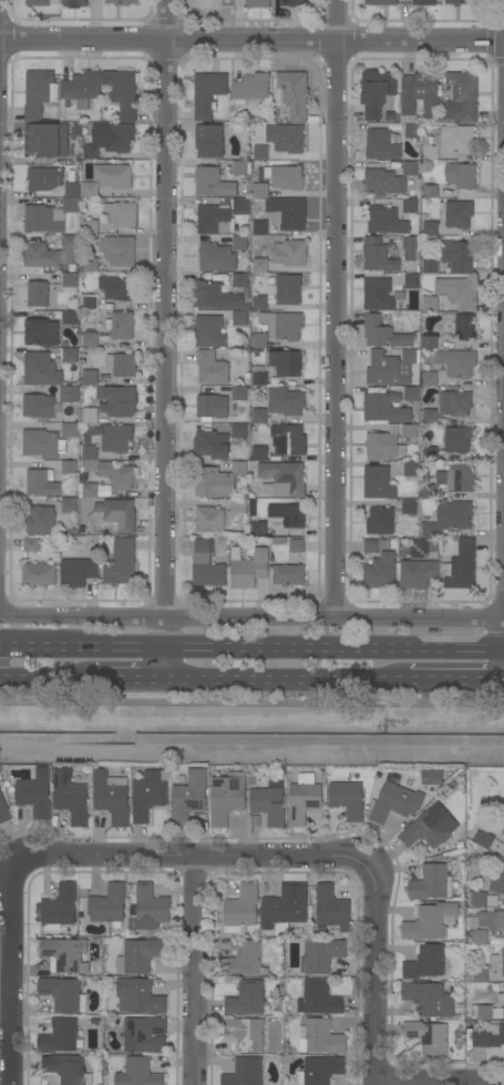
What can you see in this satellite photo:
building: (121, 2)
building: (381, 2)
building: (424, 2)
building: (460, 2)
building: (39, 3)
building: (75, 3)
building: (208, 3)
building: (258, 3)
building: (292, 3)
road: (251, 42)
building: (82, 86)
building: (251, 89)
building: (122, 92)
building: (40, 93)
building: (208, 93)
building: (377, 93)
building: (420, 93)
building: (296, 95)
building: (462, 98)
building: (83, 105)
building: (74, 132)
building: (412, 132)
building: (113, 137)
building: (286, 139)
building: (47, 141)
building: (208, 141)
building: (449, 142)
building: (382, 145)
building: (260, 152)
building: (90, 153)
building: (240, 167)
building: (410, 168)
building: (461, 175)
building: (113, 176)
building: (286, 177)
building: (44, 178)
building: (207, 181)
building: (384, 183)
building: (72, 190)
building: (90, 190)
building: (260, 191)
building: (430, 192)
building: (71, 205)
building: (412, 206)
building: (287, 213)
building: (122, 214)
building: (459, 215)
building: (222, 216)
building: (42, 219)
building: (387, 222)
building: (91, 227)
building: (258, 227)
building: (430, 228)
building: (240, 243)
building: (71, 248)
building: (412, 248)
building: (120, 252)
building: (289, 253)
building: (378, 255)
building: (41, 256)
building: (457, 256)
building: (216, 258)
building: (90, 265)
building: (260, 265)
building: (430, 266)
building: (69, 279)
building: (239, 280)
building: (412, 282)
building: (119, 288)
building: (287, 289)
building: (459, 293)
building: (38, 295)
building: (380, 295)
building: (214, 296)
building: (89, 303)
building: (260, 303)
building: (430, 304)
road: (335, 309)
building: (70, 318)
building: (239, 318)
building: (121, 326)
building: (459, 327)
building: (277, 328)
building: (208, 331)
building: (41, 332)
building: (383, 334)
road: (164, 339)
building: (89, 340)
building: (429, 342)
building: (70, 355)
building: (285, 362)
building: (456, 362)
building: (121, 365)
building: (391, 368)
building: (213, 369)
building: (41, 370)
building: (260, 376)
building: (90, 378)
building: (430, 379)
building: (239, 393)
building: (70, 395)
building: (411, 395)
building: (117, 401)
building: (286, 402)
building: (455, 403)
building: (39, 406)
building: (214, 407)
building: (384, 409)
building: (89, 416)
building: (259, 416)
building: (428, 417)
building: (49, 426)
building: (71, 430)
building: (239, 431)
building: (409, 431)
building: (116, 439)
building: (288, 440)
building: (457, 440)
building: (43, 444)
building: (212, 444)
building: (383, 447)
building: (90, 452)
building: (259, 453)
building: (430, 454)
building: (69, 468)
building: (411, 470)
building: (117, 475)
building: (285, 479)
building: (457, 479)
building: (217, 481)
building: (42, 483)
building: (378, 483)
building: (90, 490)
building: (426, 492)
building: (69, 505)
building: (239, 506)
building: (409, 506)
building: (288, 515)
building: (113, 518)
building: (450, 518)
building: (40, 520)
building: (209, 520)
building: (381, 522)
building: (259, 529)
building: (31, 544)
building: (377, 545)
building: (297, 546)
building: (121, 563)
building: (206, 565)
building: (461, 566)
building: (248, 569)
building: (381, 571)
building: (78, 572)
building: (40, 574)
building: (419, 574)
building: (288, 575)
road: (251, 618)
road: (251, 644)
road: (333, 679)
road: (47, 680)
road: (128, 680)
road: (64, 738)
building: (432, 777)
building: (35, 794)
building: (148, 795)
building: (112, 797)
building: (71, 798)
building: (189, 798)
building: (227, 798)
building: (348, 799)
building: (302, 802)
building: (394, 803)
building: (268, 806)
building: (3, 810)
building: (257, 822)
building: (430, 828)
building: (483, 839)
road: (196, 858)
building: (495, 881)
building: (432, 883)
building: (484, 900)
building: (61, 905)
building: (109, 905)
building: (286, 905)
building: (151, 908)
building: (332, 909)
building: (241, 910)
building: (492, 920)
building: (429, 922)
building: (480, 938)
building: (65, 954)
building: (141, 955)
building: (321, 955)
building: (246, 959)
building: (497, 962)
building: (425, 963)
road: (194, 972)
road: (10, 975)
building: (476, 975)
road: (376, 976)
building: (63, 994)
road: (4, 996)
building: (140, 996)
building: (247, 999)
building: (319, 999)
building: (429, 999)
building: (501, 1001)
building: (486, 1012)
building: (245, 1033)
building: (59, 1035)
building: (145, 1035)
building: (430, 1036)
building: (321, 1037)
building: (490, 1037)
building: (64, 1068)
building: (321, 1071)
building: (245, 1072)
building: (138, 1073)
road: (440, 1081)

